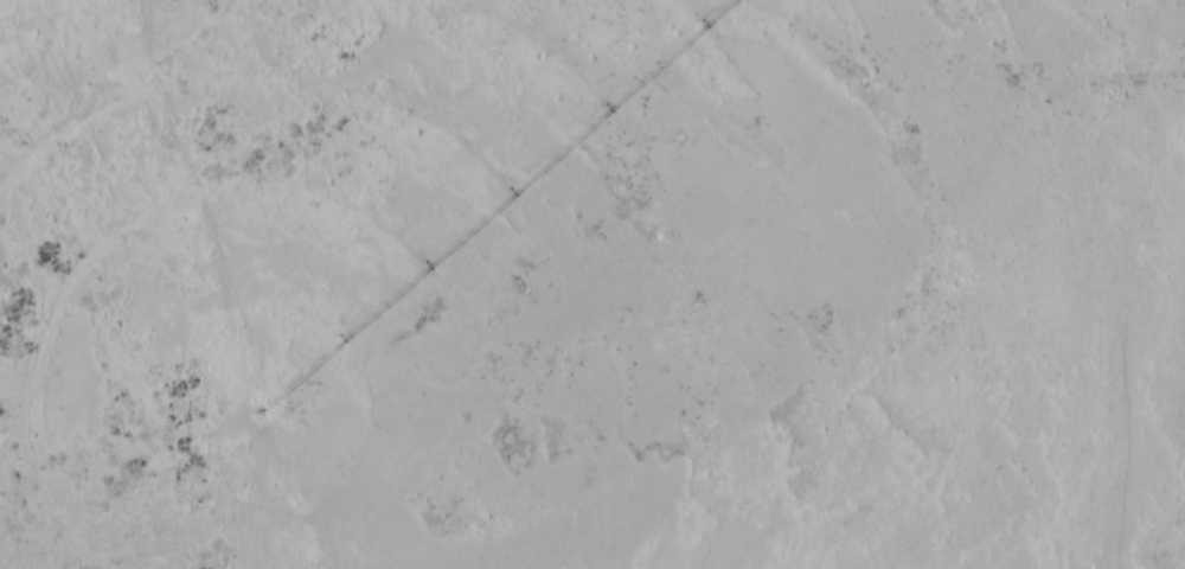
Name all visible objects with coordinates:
crop: (591, 284)

